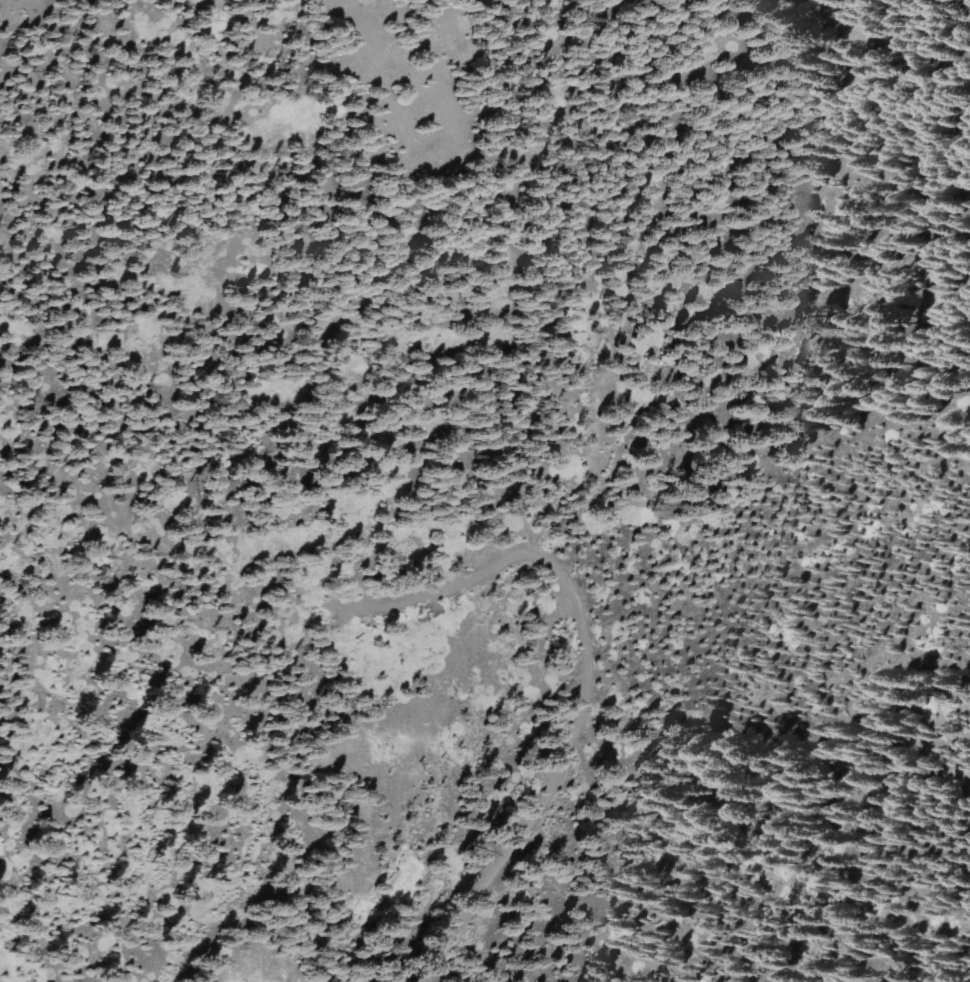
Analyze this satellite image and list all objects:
road: (588, 669)

